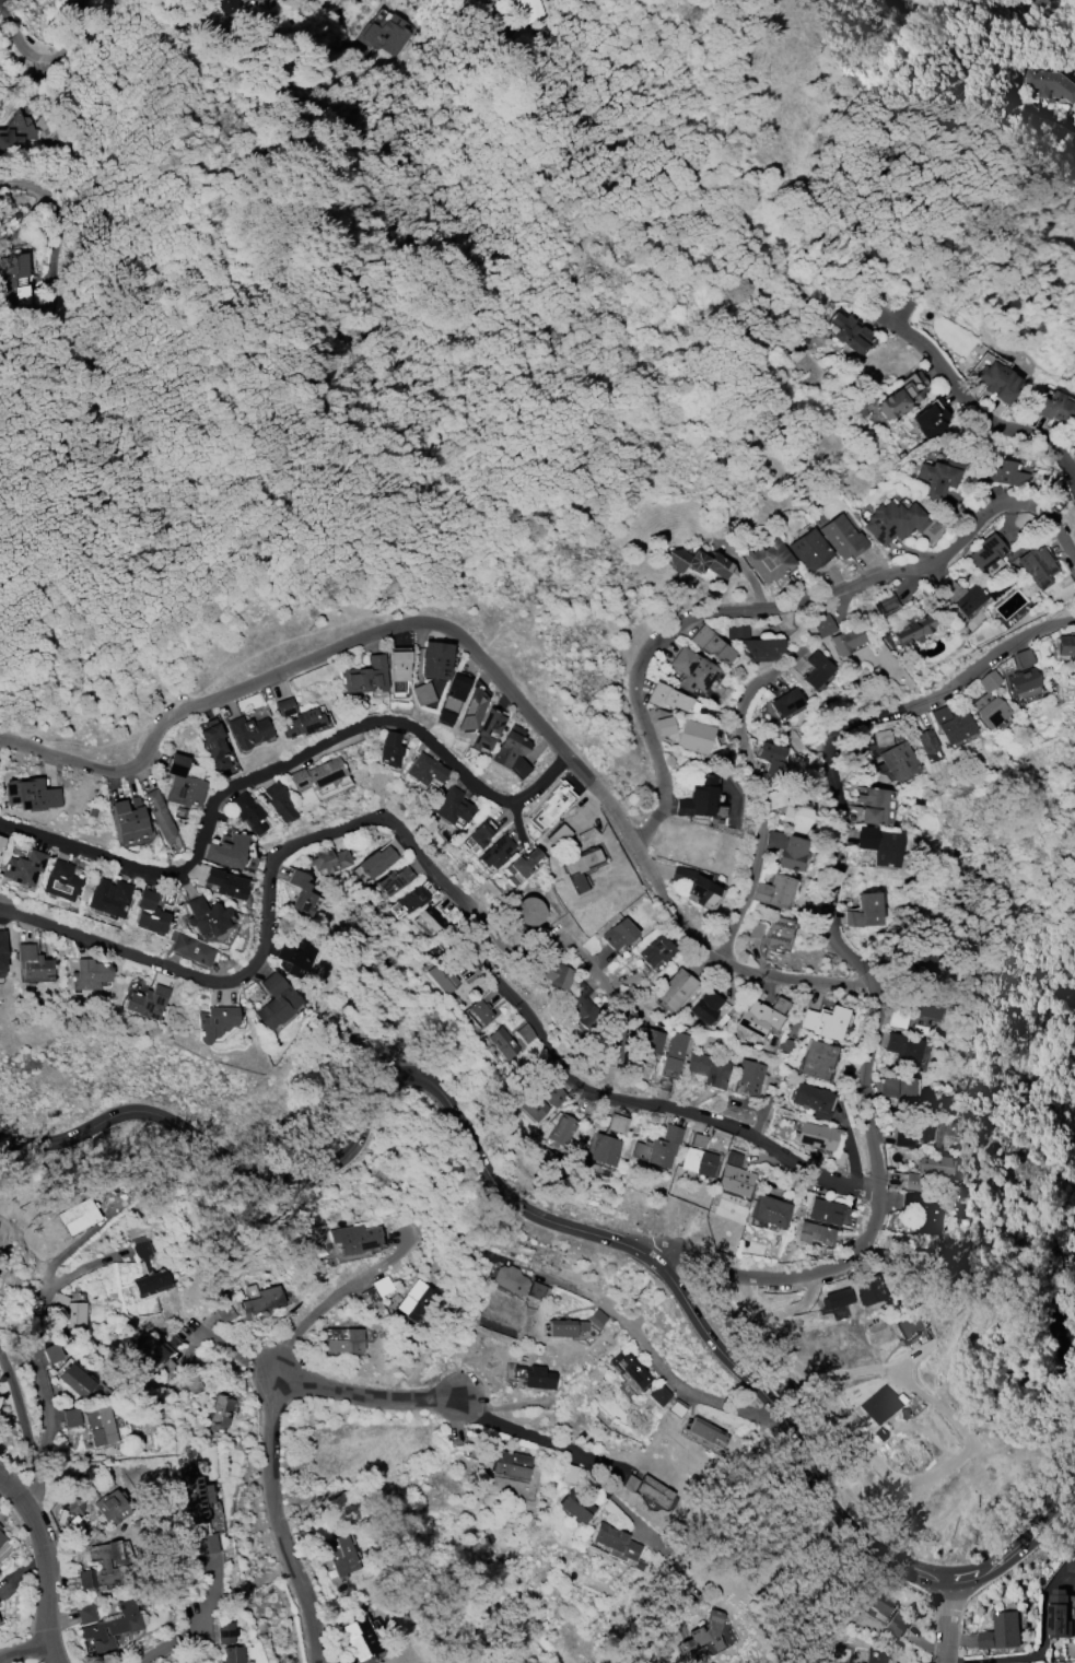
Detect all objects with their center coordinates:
road: (460, 0)
road: (0, 1)
building: (79, 2)
building: (230, 8)
building: (534, 10)
road: (358, 14)
road: (101, 25)
building: (387, 37)
building: (1049, 84)
road: (713, 99)
building: (15, 131)
road: (34, 189)
building: (21, 282)
road: (888, 301)
road: (546, 323)
building: (851, 333)
building: (997, 380)
building: (902, 395)
building: (1054, 406)
road: (982, 411)
building: (930, 418)
building: (1074, 445)
building: (1005, 473)
building: (940, 475)
building: (893, 522)
building: (842, 537)
building: (808, 550)
building: (984, 551)
building: (770, 561)
building: (699, 563)
building: (1031, 563)
building: (957, 595)
building: (885, 604)
road: (773, 607)
building: (823, 625)
building: (913, 630)
building: (844, 640)
building: (750, 642)
building: (711, 645)
building: (1066, 645)
building: (1024, 657)
building: (434, 659)
road: (471, 660)
building: (1074, 668)
building: (817, 669)
building: (397, 670)
building: (692, 670)
building: (364, 676)
building: (1023, 680)
building: (421, 693)
building: (453, 698)
building: (669, 699)
building: (989, 701)
building: (787, 704)
building: (284, 706)
building: (471, 710)
building: (938, 714)
building: (303, 723)
building: (664, 725)
building: (956, 726)
building: (486, 729)
building: (247, 731)
building: (693, 736)
building: (886, 737)
building: (213, 746)
building: (928, 746)
building: (389, 749)
building: (511, 751)
building: (773, 760)
building: (899, 760)
road: (271, 764)
building: (423, 770)
building: (316, 774)
building: (183, 781)
building: (31, 794)
road: (756, 796)
building: (697, 797)
building: (775, 798)
building: (278, 803)
building: (553, 803)
building: (449, 806)
building: (878, 807)
building: (248, 812)
building: (159, 815)
building: (795, 818)
building: (128, 820)
building: (479, 833)
building: (558, 835)
building: (866, 838)
building: (1, 841)
building: (0, 850)
building: (226, 850)
building: (887, 850)
building: (495, 852)
building: (793, 852)
building: (327, 859)
building: (378, 862)
building: (522, 866)
building: (23, 867)
building: (580, 867)
building: (395, 880)
road: (444, 880)
building: (60, 881)
building: (224, 883)
building: (692, 886)
building: (775, 891)
building: (301, 893)
building: (108, 897)
building: (412, 899)
building: (868, 909)
building: (528, 911)
building: (149, 913)
building: (205, 916)
building: (431, 917)
building: (852, 918)
building: (758, 929)
building: (617, 934)
building: (779, 934)
road: (552, 944)
building: (183, 945)
building: (1, 950)
building: (655, 950)
building: (201, 953)
building: (295, 958)
building: (32, 962)
building: (926, 962)
building: (902, 970)
building: (550, 972)
building: (87, 974)
building: (444, 979)
road: (857, 979)
building: (676, 988)
building: (277, 1000)
building: (147, 1003)
building: (705, 1006)
building: (582, 1008)
building: (923, 1008)
building: (481, 1011)
building: (761, 1017)
building: (896, 1019)
building: (213, 1022)
building: (827, 1022)
building: (617, 1041)
building: (651, 1041)
building: (501, 1042)
building: (893, 1042)
building: (673, 1052)
building: (910, 1053)
building: (816, 1059)
building: (708, 1068)
building: (747, 1078)
building: (888, 1087)
building: (907, 1092)
building: (813, 1100)
building: (529, 1103)
building: (616, 1123)
building: (560, 1129)
building: (816, 1135)
building: (918, 1135)
building: (697, 1140)
building: (658, 1147)
building: (601, 1149)
building: (733, 1158)
building: (837, 1158)
building: (698, 1161)
building: (932, 1164)
building: (734, 1180)
building: (769, 1210)
building: (825, 1211)
building: (923, 1213)
building: (78, 1216)
road: (559, 1223)
building: (815, 1233)
building: (353, 1238)
building: (920, 1257)
building: (145, 1267)
building: (509, 1279)
building: (868, 1289)
building: (535, 1290)
building: (375, 1291)
building: (260, 1297)
building: (414, 1300)
building: (58, 1301)
road: (327, 1305)
building: (225, 1312)
road: (1050, 1315)
building: (75, 1316)
building: (595, 1317)
building: (911, 1325)
building: (564, 1327)
building: (342, 1339)
road: (227, 1348)
building: (54, 1352)
building: (149, 1352)
road: (35, 1357)
road: (657, 1362)
building: (629, 1370)
building: (536, 1378)
building: (75, 1380)
building: (191, 1384)
building: (658, 1395)
building: (879, 1406)
building: (675, 1408)
road: (937, 1409)
building: (219, 1410)
road: (21, 1415)
building: (70, 1417)
building: (100, 1426)
building: (702, 1430)
road: (270, 1431)
building: (510, 1464)
road: (594, 1475)
building: (647, 1488)
building: (74, 1506)
building: (575, 1506)
building: (110, 1507)
building: (199, 1510)
building: (0, 1527)
building: (1, 1537)
building: (614, 1541)
building: (339, 1555)
building: (1070, 1561)
road: (47, 1565)
building: (638, 1565)
building: (105, 1567)
building: (876, 1603)
building: (85, 1614)
building: (1059, 1615)
road: (939, 1621)
road: (196, 1624)
building: (897, 1624)
building: (112, 1627)
building: (1002, 1631)
building: (224, 1632)
building: (702, 1632)
building: (360, 1638)
road: (22, 1651)
road: (1035, 1652)
building: (232, 1654)
building: (875, 1655)
building: (340, 1662)

